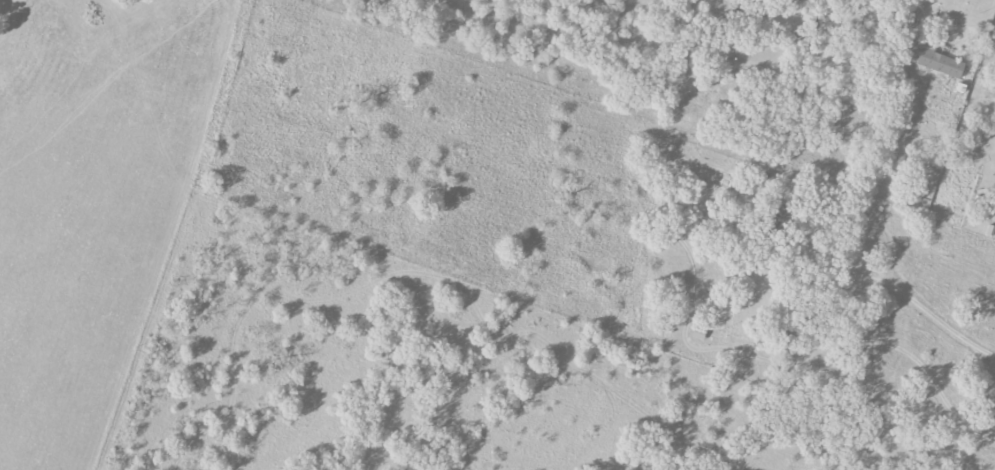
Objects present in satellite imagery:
road: (925, 18)
building: (940, 63)
building: (698, 334)

